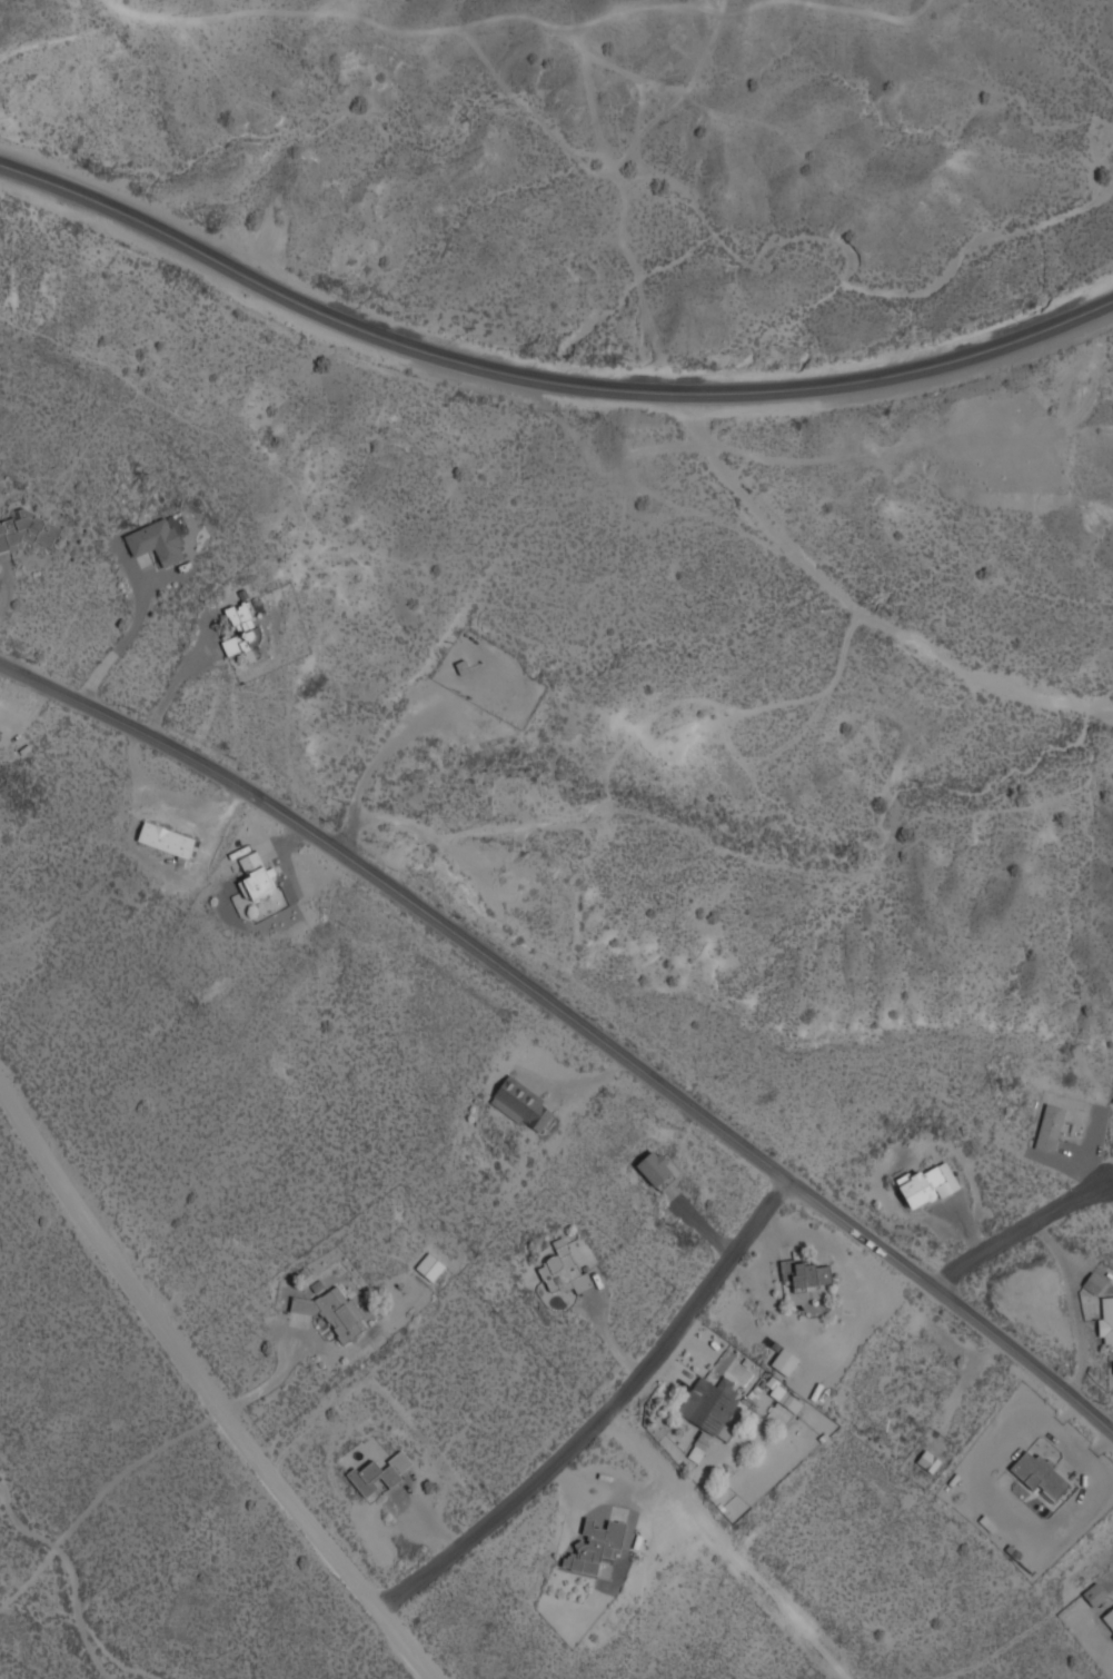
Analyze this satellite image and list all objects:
road: (543, 379)
building: (24, 530)
building: (157, 542)
road: (855, 608)
building: (239, 612)
building: (244, 643)
building: (0, 734)
building: (0, 736)
building: (166, 840)
building: (257, 876)
road: (574, 1021)
building: (524, 1104)
building: (1051, 1126)
building: (655, 1168)
building: (928, 1183)
road: (1022, 1226)
building: (430, 1266)
building: (563, 1269)
building: (808, 1273)
building: (1094, 1281)
building: (336, 1310)
building: (1106, 1319)
building: (785, 1360)
road: (207, 1389)
building: (785, 1394)
building: (710, 1412)
road: (607, 1418)
road: (1111, 1427)
building: (930, 1459)
building: (1040, 1472)
building: (379, 1476)
building: (596, 1546)
road: (728, 1547)
building: (1095, 1593)
building: (1109, 1617)

